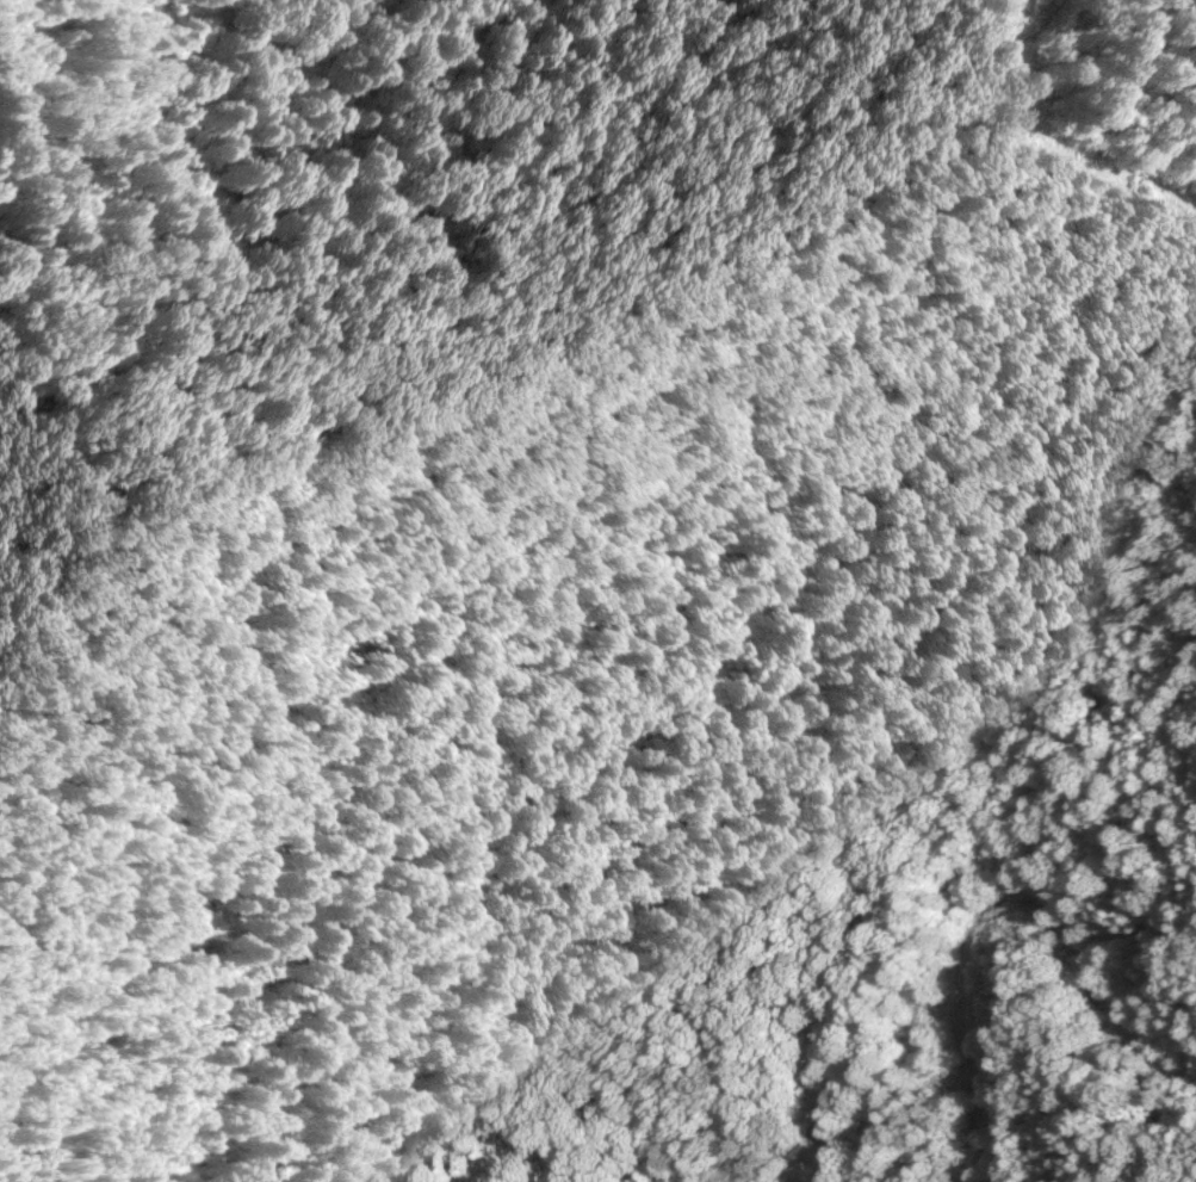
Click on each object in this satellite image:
road: (989, 901)
building: (820, 1128)

